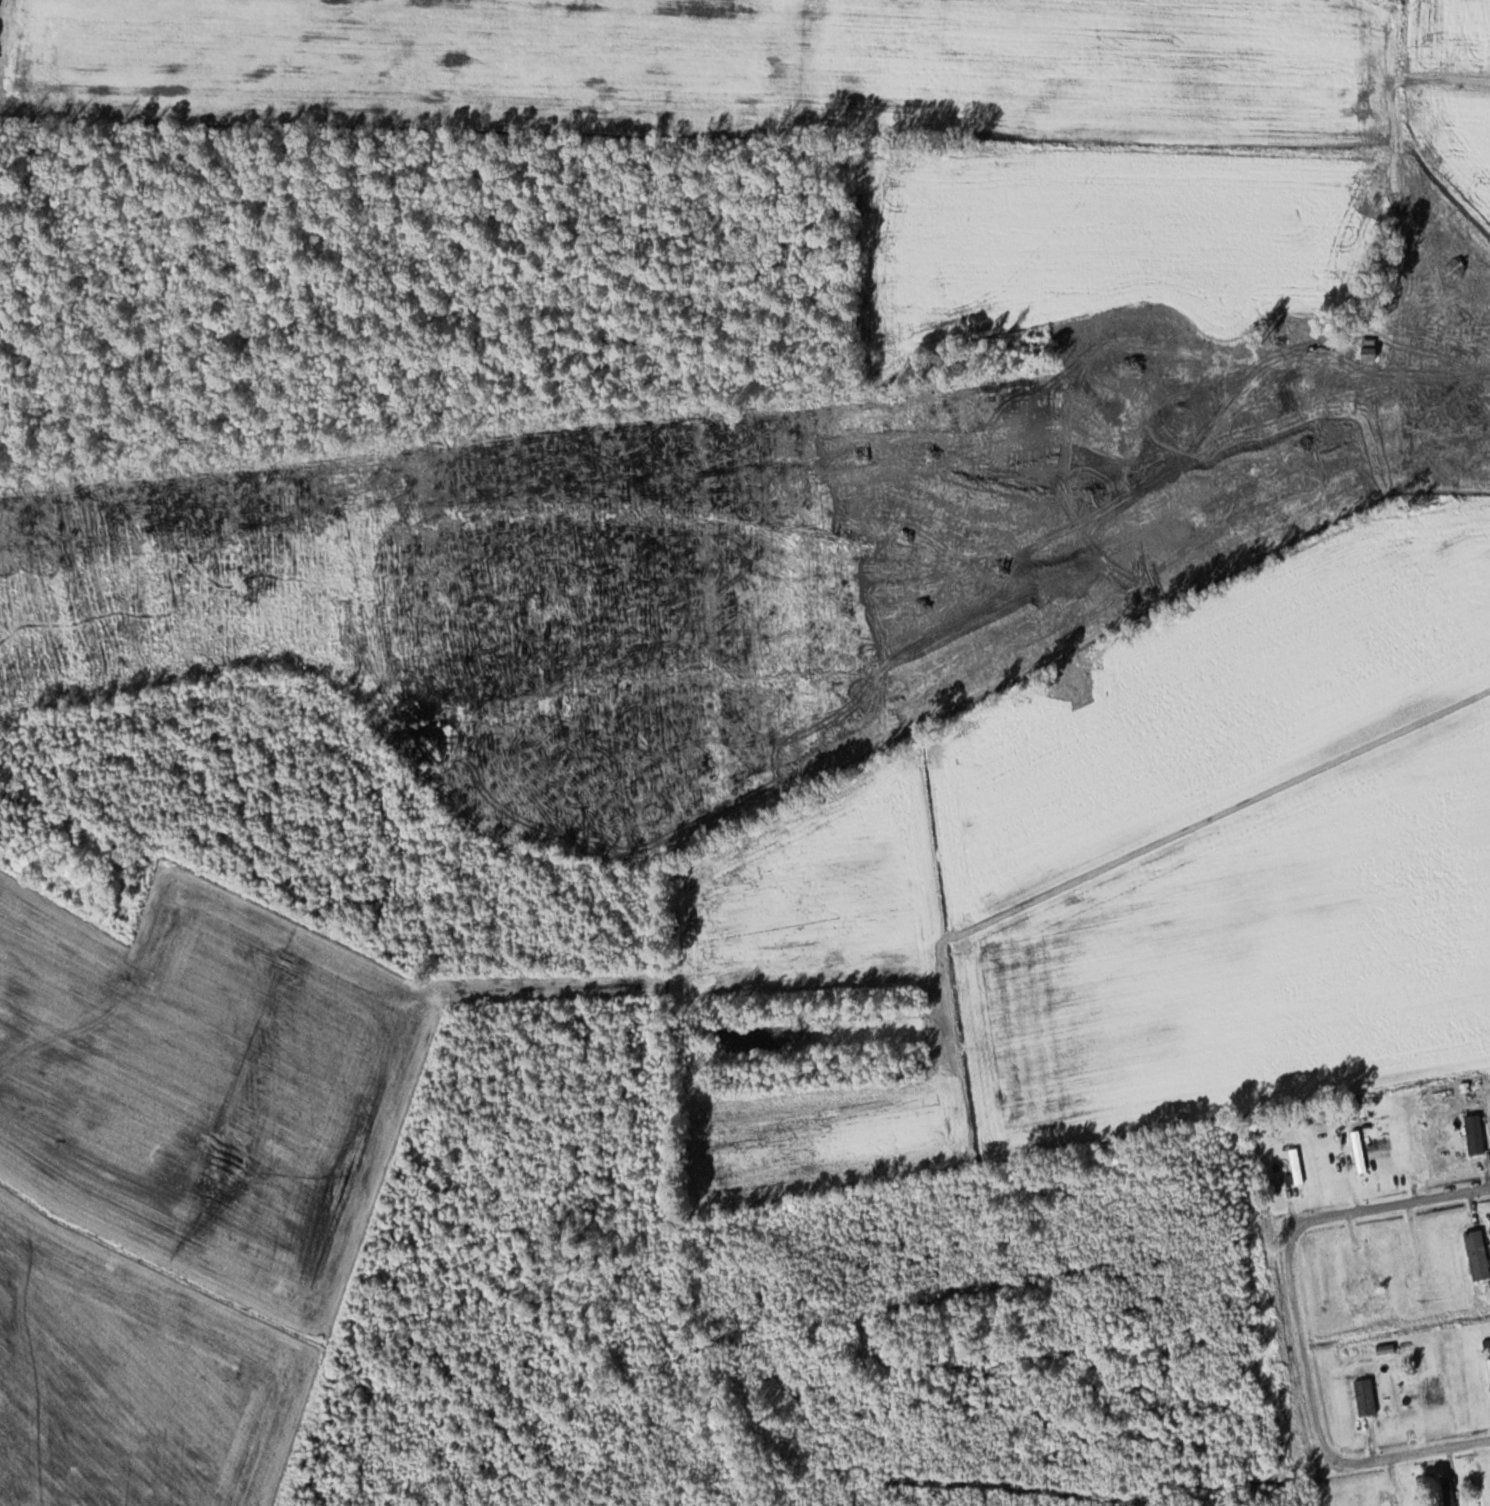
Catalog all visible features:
building: (1369, 353)
building: (1307, 368)
building: (1476, 1135)
building: (1417, 1138)
building: (1358, 1152)
building: (1479, 1255)
road: (1290, 1256)
building: (1352, 1270)
building: (1432, 1388)
road: (1422, 1450)
building: (1450, 1495)
building: (1387, 1499)

